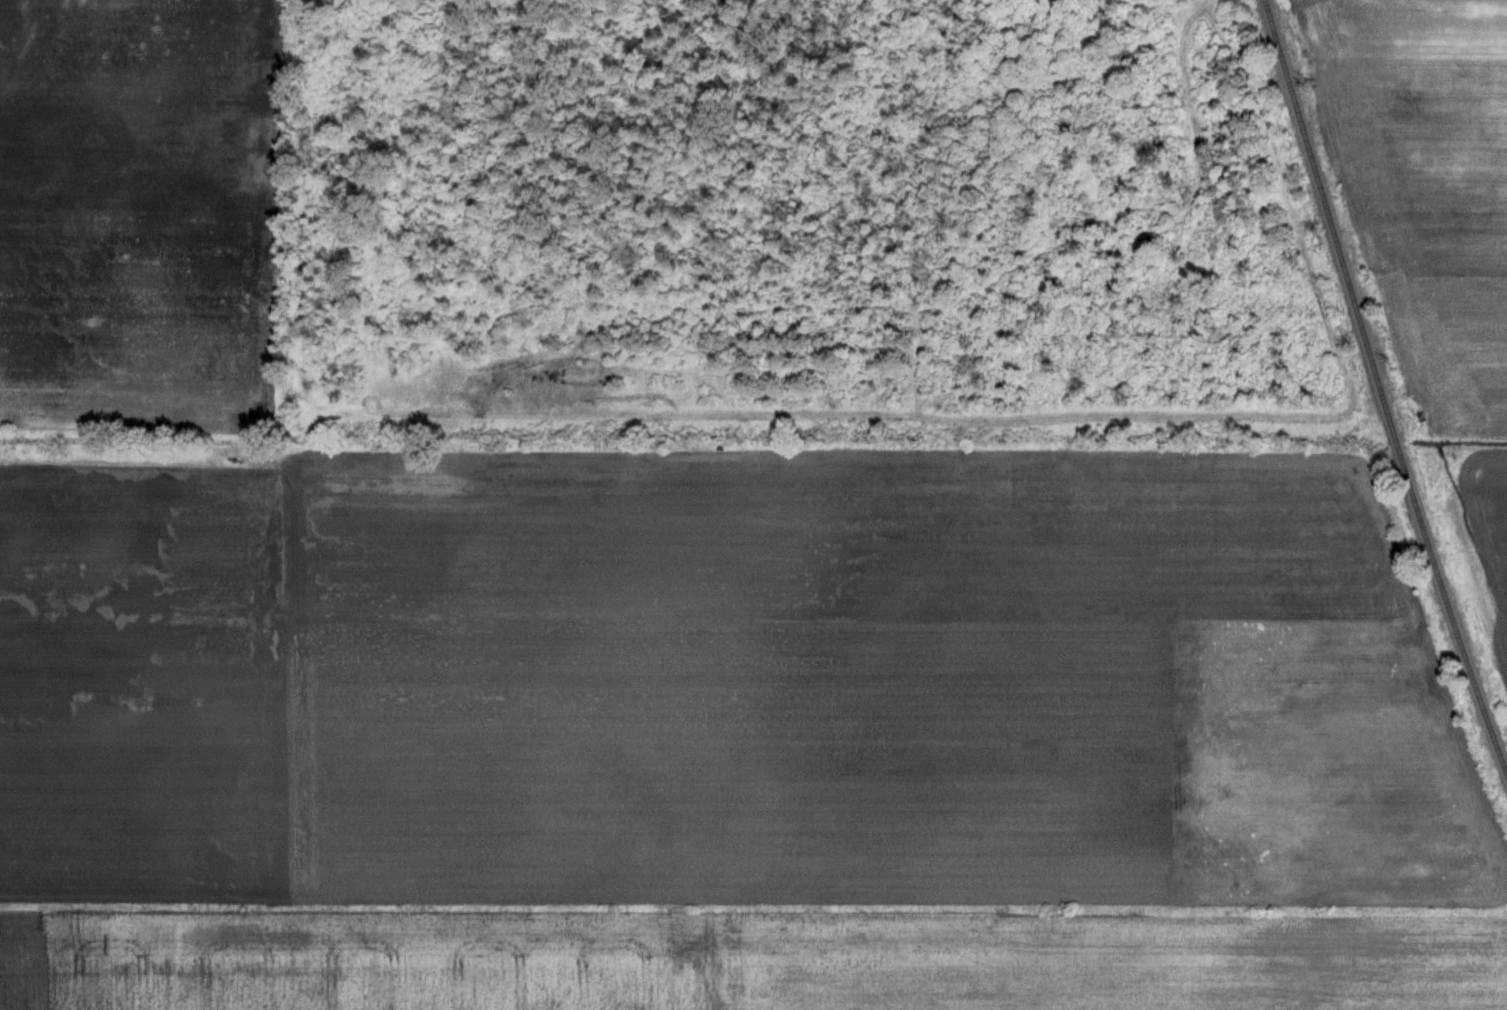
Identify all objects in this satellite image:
railway: (1381, 385)

